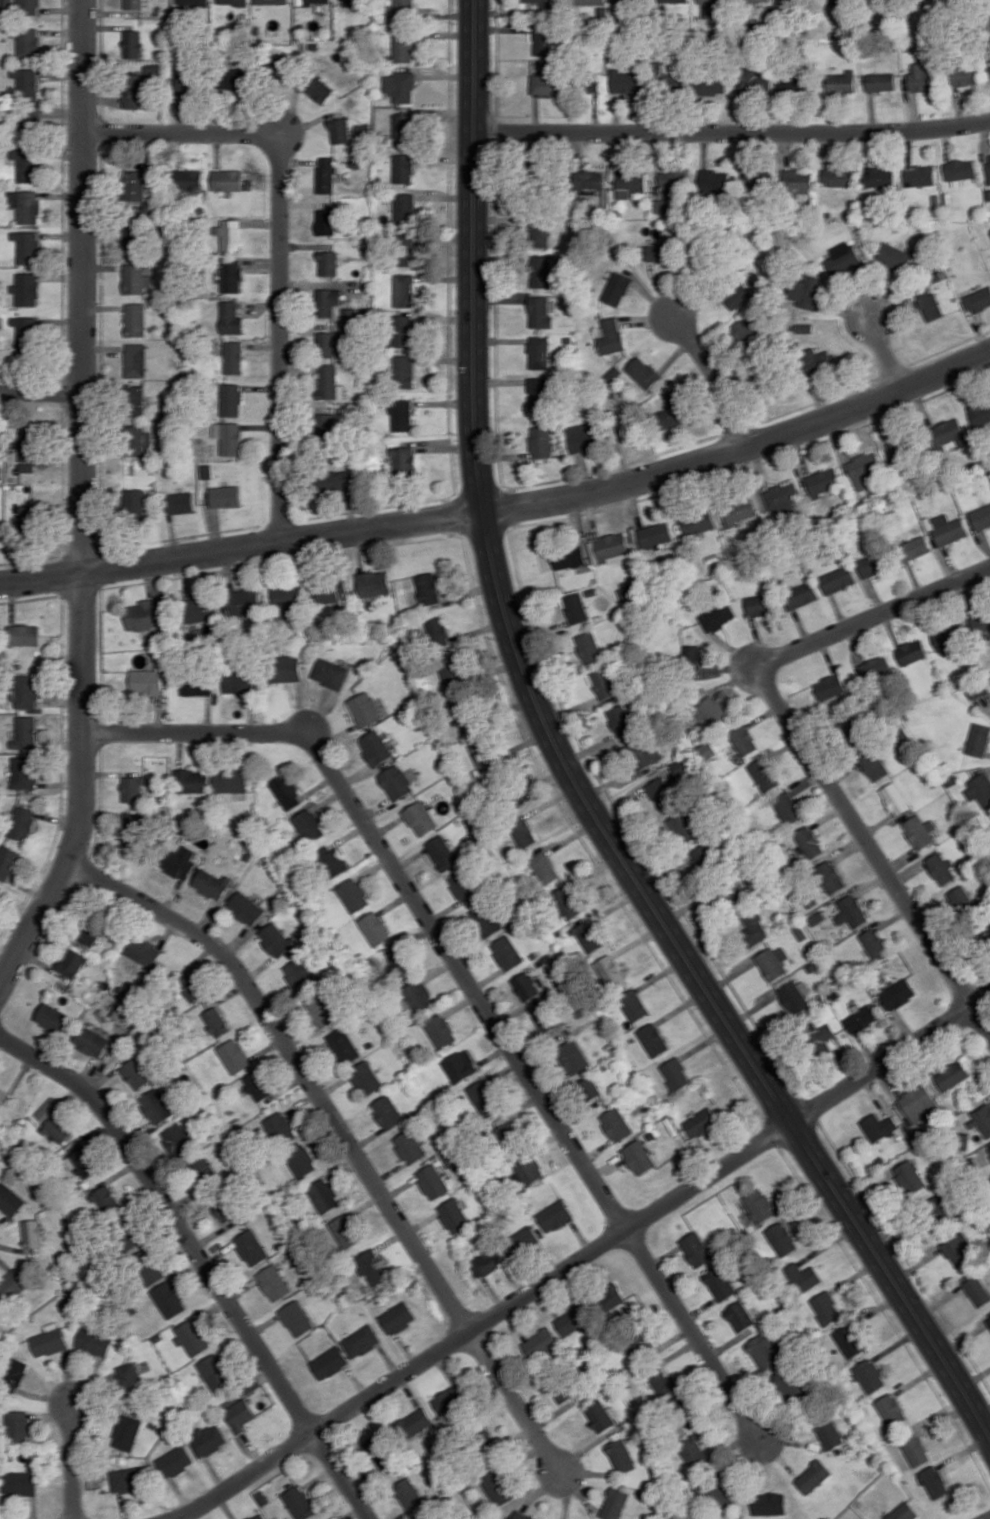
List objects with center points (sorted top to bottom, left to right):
building: (674, 0)
building: (753, 0)
building: (790, 0)
building: (270, 1)
building: (630, 1)
building: (839, 1)
building: (234, 2)
building: (314, 2)
building: (352, 2)
building: (589, 2)
building: (193, 3)
building: (8, 4)
building: (135, 4)
building: (547, 5)
building: (29, 7)
building: (711, 7)
building: (403, 9)
building: (543, 40)
building: (28, 41)
building: (133, 43)
building: (402, 49)
building: (278, 67)
building: (153, 68)
building: (989, 68)
building: (964, 75)
building: (921, 78)
building: (627, 81)
building: (756, 81)
building: (185, 82)
building: (587, 82)
building: (841, 82)
building: (880, 82)
building: (27, 83)
building: (547, 83)
building: (710, 84)
building: (794, 84)
building: (400, 86)
building: (318, 89)
building: (135, 91)
building: (404, 127)
building: (28, 129)
building: (340, 130)
road: (732, 134)
road: (281, 135)
building: (26, 165)
building: (988, 166)
building: (404, 168)
building: (959, 170)
building: (326, 174)
building: (837, 176)
building: (879, 176)
building: (919, 176)
building: (188, 179)
building: (673, 179)
building: (227, 180)
building: (589, 180)
building: (715, 181)
building: (756, 181)
building: (798, 181)
building: (630, 182)
building: (137, 184)
building: (25, 205)
building: (405, 208)
building: (327, 221)
building: (540, 234)
building: (232, 235)
building: (134, 240)
road: (281, 244)
building: (27, 246)
building: (407, 249)
building: (660, 250)
building: (895, 256)
building: (843, 258)
building: (328, 263)
building: (542, 272)
building: (231, 275)
building: (136, 278)
building: (617, 288)
building: (27, 289)
building: (404, 290)
building: (806, 291)
building: (738, 296)
building: (978, 300)
building: (328, 301)
building: (930, 305)
building: (542, 312)
building: (230, 317)
building: (135, 319)
building: (404, 330)
building: (27, 331)
building: (745, 331)
building: (610, 335)
building: (327, 343)
building: (540, 352)
road: (885, 353)
building: (234, 357)
building: (135, 360)
building: (817, 361)
building: (404, 371)
building: (644, 373)
road: (717, 379)
building: (328, 381)
building: (539, 393)
road: (41, 394)
building: (231, 399)
building: (134, 400)
building: (673, 410)
building: (980, 413)
building: (401, 415)
building: (325, 426)
building: (620, 429)
building: (948, 433)
building: (229, 437)
building: (582, 437)
building: (0, 441)
building: (139, 441)
building: (542, 441)
building: (28, 445)
building: (901, 449)
building: (404, 461)
building: (27, 467)
building: (865, 470)
building: (206, 471)
building: (335, 481)
building: (824, 481)
building: (225, 496)
building: (784, 499)
building: (134, 501)
road: (82, 502)
building: (179, 502)
road: (505, 508)
building: (739, 510)
building: (981, 517)
building: (27, 519)
building: (698, 522)
building: (946, 528)
building: (0, 530)
building: (655, 534)
building: (612, 548)
building: (914, 548)
building: (568, 557)
building: (871, 565)
building: (838, 579)
building: (373, 583)
building: (427, 588)
building: (331, 591)
building: (287, 595)
building: (801, 595)
building: (244, 601)
building: (760, 604)
building: (575, 608)
building: (201, 609)
building: (141, 615)
building: (717, 616)
building: (981, 626)
building: (436, 631)
building: (23, 634)
building: (949, 635)
building: (588, 647)
building: (911, 652)
building: (692, 656)
building: (875, 667)
building: (284, 669)
building: (448, 670)
building: (330, 673)
building: (146, 681)
building: (239, 682)
building: (604, 682)
building: (196, 684)
building: (830, 686)
building: (979, 689)
building: (26, 691)
building: (365, 709)
building: (711, 711)
building: (621, 720)
building: (25, 732)
building: (979, 739)
building: (743, 740)
building: (376, 747)
building: (479, 749)
road: (807, 749)
building: (708, 750)
building: (645, 752)
building: (873, 765)
building: (680, 766)
building: (24, 772)
road: (568, 772)
building: (763, 774)
building: (229, 780)
building: (191, 781)
building: (396, 782)
building: (131, 789)
building: (659, 789)
building: (979, 790)
building: (286, 792)
building: (895, 798)
building: (787, 808)
building: (421, 818)
building: (23, 823)
building: (308, 825)
building: (683, 826)
building: (135, 829)
building: (919, 831)
building: (523, 832)
building: (807, 841)
building: (442, 852)
building: (702, 857)
building: (331, 861)
building: (8, 862)
building: (178, 862)
building: (544, 867)
building: (941, 868)
building: (830, 876)
building: (211, 883)
building: (463, 886)
road: (406, 887)
building: (352, 895)
building: (567, 902)
building: (245, 908)
building: (850, 911)
building: (486, 919)
building: (374, 928)
building: (755, 928)
building: (986, 929)
building: (90, 931)
building: (588, 936)
building: (275, 939)
building: (874, 944)
building: (144, 951)
building: (507, 952)
building: (772, 962)
building: (73, 963)
building: (399, 964)
building: (610, 971)
building: (299, 973)
building: (191, 986)
building: (526, 986)
building: (898, 994)
building: (416, 996)
building: (634, 1005)
building: (322, 1010)
building: (123, 1014)
building: (53, 1018)
building: (861, 1018)
building: (547, 1019)
building: (216, 1022)
building: (440, 1031)
building: (819, 1038)
building: (654, 1039)
building: (91, 1041)
building: (343, 1045)
building: (234, 1055)
building: (574, 1056)
road: (299, 1065)
building: (460, 1066)
building: (135, 1074)
building: (676, 1074)
building: (952, 1075)
building: (365, 1078)
building: (257, 1086)
building: (591, 1088)
building: (2, 1094)
building: (483, 1097)
building: (919, 1103)
building: (157, 1106)
building: (387, 1111)
building: (981, 1120)
building: (55, 1121)
building: (702, 1122)
building: (617, 1124)
building: (879, 1126)
building: (280, 1128)
building: (506, 1133)
building: (178, 1140)
building: (409, 1146)
building: (989, 1149)
building: (639, 1157)
building: (301, 1160)
building: (83, 1163)
building: (204, 1169)
building: (527, 1171)
building: (909, 1177)
building: (432, 1181)
building: (324, 1195)
building: (107, 1199)
building: (10, 1200)
building: (759, 1205)
building: (225, 1209)
building: (942, 1211)
building: (454, 1215)
building: (555, 1215)
building: (346, 1231)
building: (33, 1233)
building: (782, 1239)
building: (521, 1240)
building: (251, 1247)
building: (696, 1249)
building: (958, 1250)
road: (583, 1258)
road: (202, 1260)
building: (488, 1261)
building: (149, 1265)
building: (372, 1266)
building: (802, 1276)
building: (273, 1282)
building: (720, 1283)
building: (12, 1286)
building: (977, 1291)
building: (610, 1298)
building: (169, 1299)
building: (826, 1307)
building: (739, 1316)
building: (398, 1317)
building: (296, 1318)
building: (573, 1319)
building: (988, 1321)
road: (693, 1333)
building: (192, 1337)
building: (50, 1340)
building: (95, 1341)
building: (362, 1341)
building: (849, 1341)
building: (540, 1342)
building: (641, 1342)
building: (765, 1350)
building: (330, 1362)
building: (214, 1371)
building: (16, 1373)
building: (869, 1375)
building: (129, 1376)
building: (665, 1383)
building: (789, 1385)
building: (565, 1391)
building: (449, 1399)
road: (515, 1401)
building: (891, 1410)
building: (240, 1414)
building: (601, 1415)
building: (415, 1422)
building: (18, 1426)
building: (127, 1432)
building: (829, 1432)
building: (485, 1435)
building: (208, 1440)
building: (693, 1450)
building: (916, 1450)
building: (381, 1454)
building: (621, 1455)
road: (73, 1461)
building: (174, 1461)
building: (814, 1476)
building: (128, 1479)
building: (935, 1481)
building: (20, 1483)
building: (498, 1487)
building: (722, 1491)
building: (409, 1495)
building: (299, 1503)
building: (615, 1503)
building: (770, 1503)
building: (903, 1512)
building: (522, 1515)
building: (258, 1516)
building: (426, 1516)

